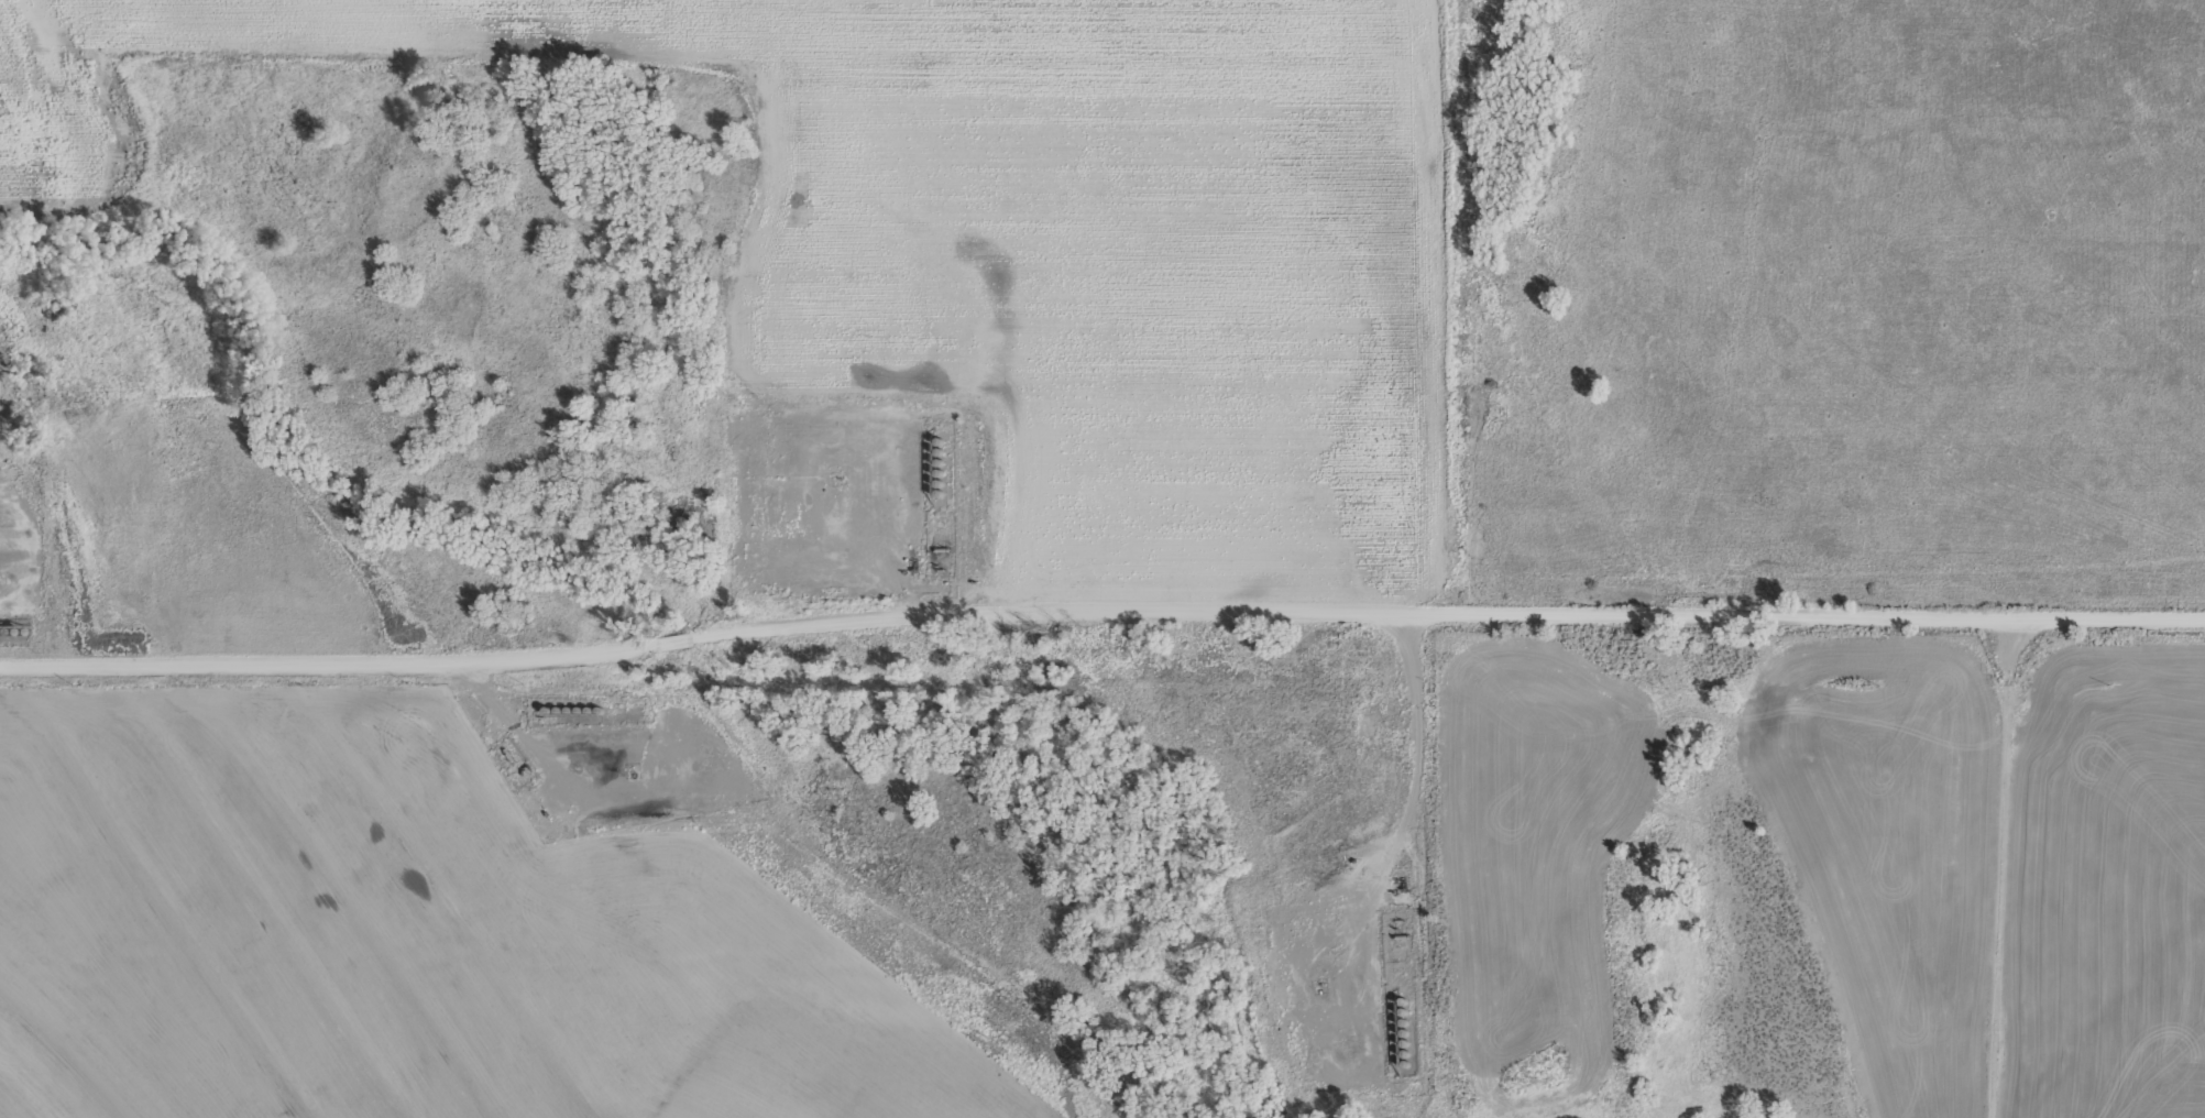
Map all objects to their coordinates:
building: (39, 403)
road: (1100, 617)
building: (662, 742)
building: (695, 750)

